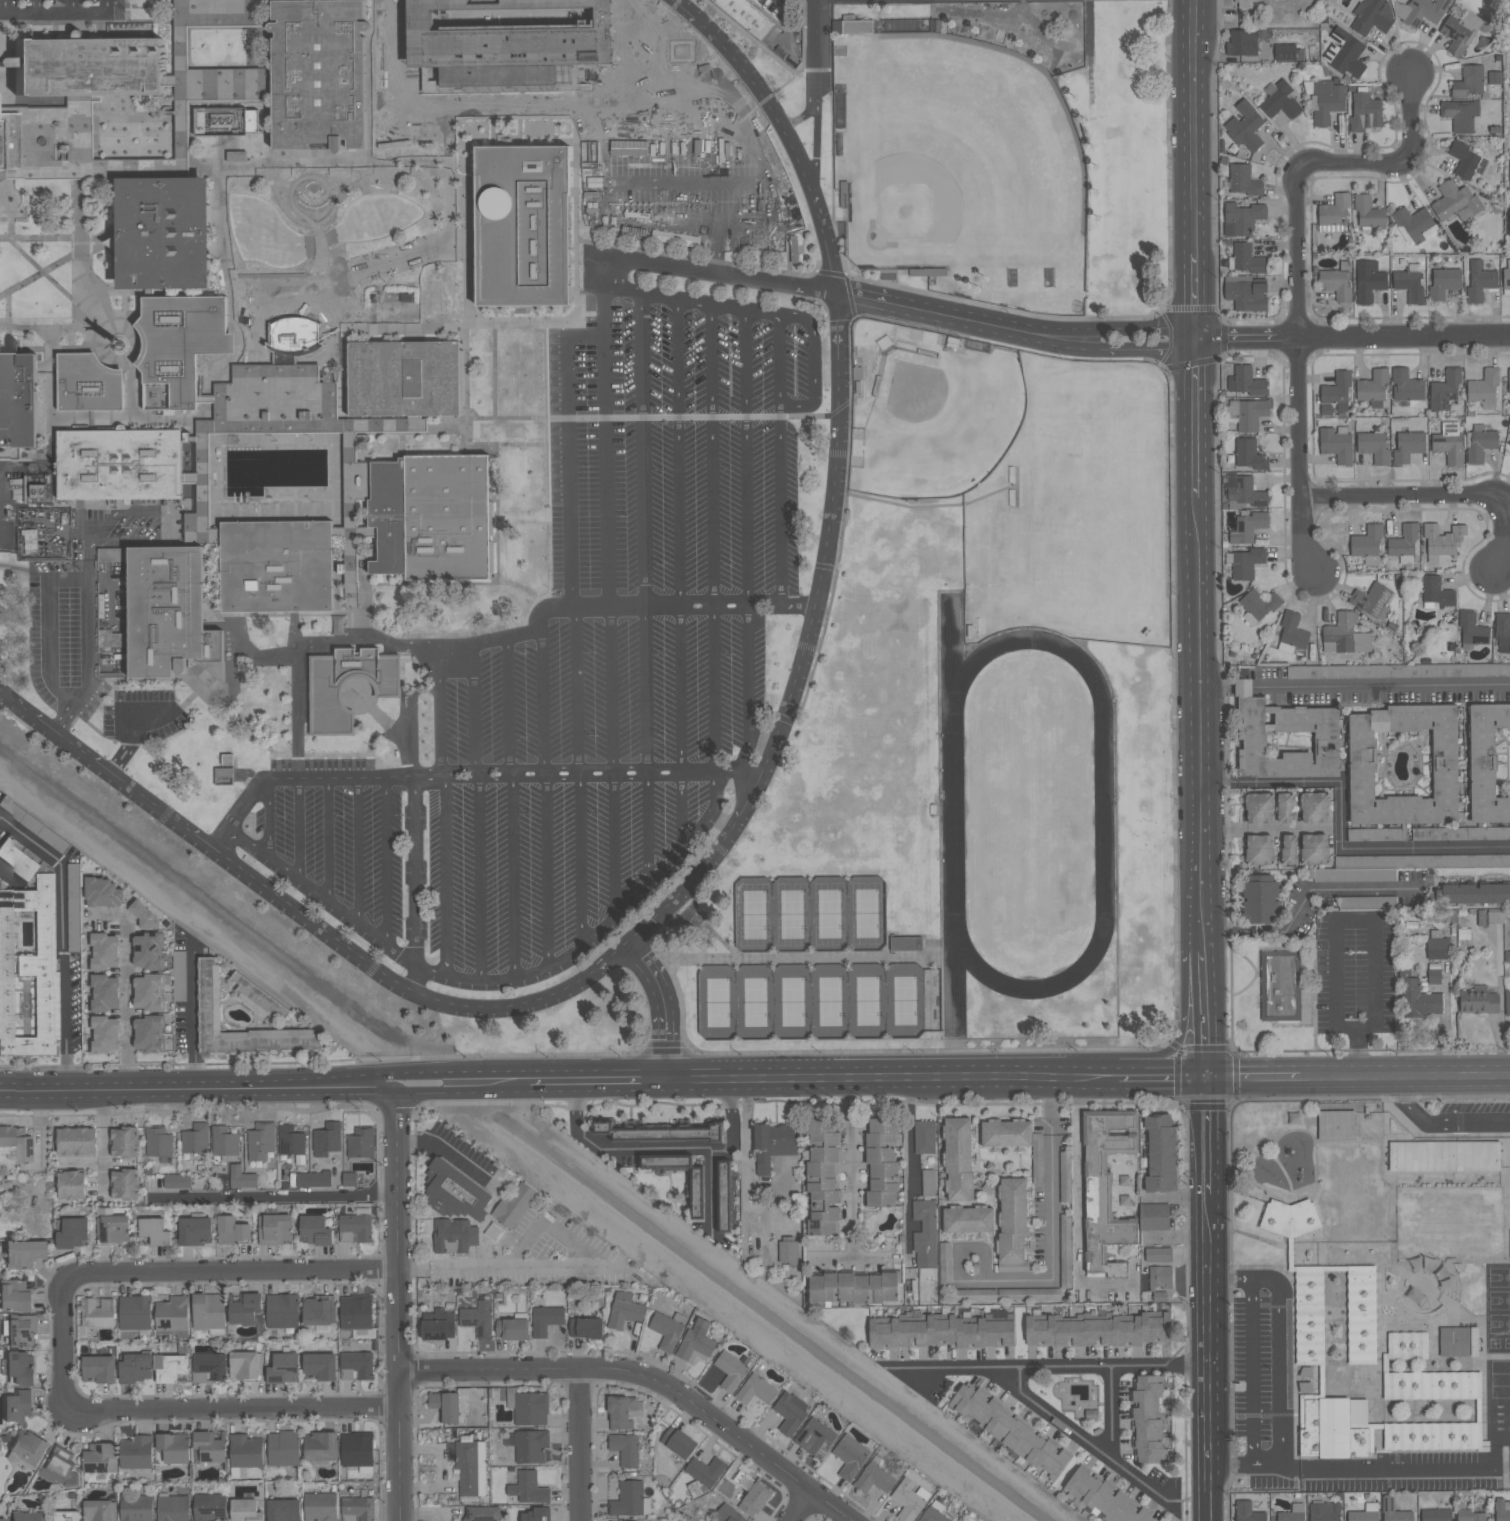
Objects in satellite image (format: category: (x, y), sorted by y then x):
parking lot: (915, 1)
building: (1245, 4)
road: (154, 5)
road: (38, 6)
road: (71, 6)
road: (3, 7)
road: (127, 10)
parking lot: (62, 11)
building: (1421, 11)
road: (59, 13)
road: (146, 13)
building: (1373, 16)
building: (749, 17)
road: (155, 21)
road: (64, 24)
building: (854, 26)
parking lot: (785, 29)
road: (56, 32)
road: (752, 37)
building: (509, 41)
building: (1243, 42)
road: (268, 44)
building: (1285, 51)
road: (819, 52)
building: (1345, 52)
building: (270, 75)
building: (1469, 81)
road: (182, 83)
road: (263, 89)
building: (1281, 101)
building: (1325, 101)
road: (503, 102)
road: (50, 103)
building: (1365, 113)
building: (1460, 114)
parking lot: (637, 116)
road: (800, 117)
road: (115, 119)
road: (648, 125)
road: (519, 126)
building: (1245, 126)
road: (492, 131)
road: (452, 134)
building: (91, 142)
building: (8, 143)
road: (681, 147)
road: (816, 155)
park: (954, 157)
building: (1467, 161)
road: (399, 165)
road: (605, 167)
road: (144, 168)
road: (30, 174)
road: (221, 174)
building: (1243, 180)
road: (80, 182)
road: (300, 185)
building: (1456, 201)
road: (10, 207)
road: (833, 207)
road: (452, 208)
building: (1509, 211)
building: (1368, 212)
building: (1334, 214)
road: (575, 218)
building: (1242, 218)
road: (665, 221)
road: (326, 222)
building: (1414, 224)
building: (522, 226)
road: (10, 229)
building: (164, 234)
road: (88, 236)
road: (38, 237)
road: (96, 240)
road: (716, 247)
road: (320, 248)
building: (793, 248)
road: (452, 250)
road: (110, 251)
building: (1245, 258)
road: (39, 268)
road: (364, 271)
road: (1294, 273)
road: (124, 274)
road: (726, 274)
road: (34, 276)
building: (1506, 276)
building: (1368, 280)
road: (879, 281)
building: (1480, 281)
building: (1335, 283)
building: (1444, 283)
building: (1410, 284)
building: (1246, 293)
road: (188, 295)
road: (282, 297)
road: (674, 299)
road: (325, 300)
road: (256, 303)
road: (136, 310)
road: (929, 313)
road: (91, 317)
road: (512, 317)
road: (9, 322)
road: (486, 322)
road: (912, 325)
road: (1112, 326)
road: (407, 331)
road: (1355, 335)
traffic signals: (1201, 337)
building: (297, 338)
building: (119, 344)
road: (1111, 351)
road: (814, 363)
road: (545, 369)
road: (495, 370)
building: (1245, 381)
building: (1509, 381)
building: (1406, 385)
building: (91, 386)
building: (1484, 386)
building: (1373, 389)
building: (1445, 390)
building: (1336, 394)
building: (18, 399)
building: (1247, 413)
road: (153, 417)
road: (607, 417)
park: (940, 424)
road: (850, 442)
building: (1449, 442)
building: (1336, 443)
building: (1480, 444)
building: (1509, 445)
road: (607, 446)
building: (1373, 446)
building: (1408, 446)
building: (1249, 454)
road: (780, 460)
road: (1202, 464)
building: (416, 491)
building: (1244, 492)
building: (38, 493)
road: (1434, 495)
parking lot: (686, 496)
road: (929, 506)
park: (1077, 511)
road: (547, 514)
road: (210, 515)
road: (523, 515)
road: (173, 519)
building: (1248, 526)
road: (348, 531)
road: (645, 533)
road: (680, 536)
road: (712, 538)
building: (1442, 541)
road: (748, 544)
building: (1367, 545)
building: (1404, 545)
road: (88, 562)
building: (1246, 563)
road: (830, 567)
road: (24, 571)
road: (64, 580)
road: (414, 583)
road: (523, 588)
building: (1437, 591)
building: (1371, 599)
building: (1258, 605)
road: (627, 607)
road: (731, 607)
road: (532, 622)
building: (1503, 633)
building: (1292, 634)
building: (1345, 635)
parking lot: (65, 638)
building: (110, 638)
road: (358, 643)
building: (1398, 670)
parking lot: (546, 679)
road: (116, 684)
road: (298, 685)
road: (1376, 686)
road: (1223, 688)
building: (328, 691)
road: (576, 691)
road: (542, 694)
road: (188, 700)
road: (220, 701)
road: (151, 704)
road: (508, 705)
road: (473, 708)
road: (380, 717)
road: (66, 718)
parking lot: (141, 720)
road: (260, 737)
road: (612, 737)
building: (1286, 738)
road: (441, 748)
road: (124, 753)
road: (344, 754)
building: (228, 761)
building: (1490, 763)
building: (1404, 765)
road: (737, 773)
road: (491, 775)
building: (226, 778)
road: (1218, 785)
road: (250, 802)
building: (1285, 807)
building: (1315, 807)
building: (1259, 808)
road: (682, 810)
track: (1022, 815)
road: (1104, 815)
road: (269, 817)
road: (952, 817)
park: (1029, 817)
building: (33, 824)
road: (299, 828)
road: (1264, 829)
road: (648, 831)
road: (730, 831)
building: (1460, 833)
building: (1375, 834)
road: (223, 839)
road: (329, 839)
road: (616, 845)
road: (1343, 848)
road: (358, 849)
building: (1259, 849)
building: (1289, 849)
building: (1314, 849)
parking lot: (477, 854)
road: (386, 859)
road: (581, 859)
building: (18, 860)
building: (1396, 865)
road: (547, 869)
road: (416, 870)
road: (444, 874)
road: (515, 876)
building: (1259, 877)
building: (104, 892)
building: (1476, 893)
road: (323, 896)
road: (1300, 899)
building: (1366, 901)
building: (1260, 902)
building: (73, 906)
road: (628, 908)
road: (480, 910)
building: (144, 915)
park: (812, 916)
building: (1490, 917)
road: (1373, 923)
road: (1198, 934)
road: (62, 937)
building: (906, 943)
building: (1437, 948)
building: (150, 950)
building: (103, 951)
road: (725, 957)
road: (840, 957)
building: (29, 969)
building: (179, 975)
building: (1434, 976)
road: (417, 980)
road: (126, 985)
building: (1281, 986)
building: (209, 989)
building: (104, 992)
building: (149, 992)
building: (260, 997)
building: (1417, 997)
building: (1479, 1000)
building: (1507, 1001)
park: (820, 1003)
road: (1202, 1007)
road: (665, 1009)
road: (195, 1019)
road: (1184, 1026)
building: (151, 1034)
building: (104, 1035)
road: (463, 1072)
road: (1404, 1074)
road: (348, 1075)
road: (1094, 1075)
road: (1161, 1075)
traffic signals: (1206, 1075)
road: (1253, 1075)
road: (867, 1078)
road: (617, 1081)
road: (552, 1082)
road: (389, 1084)
road: (154, 1087)
road: (463, 1091)
road: (349, 1095)
road: (732, 1114)
building: (1336, 1125)
road: (1434, 1126)
building: (661, 1132)
road: (102, 1136)
building: (924, 1136)
building: (195, 1138)
building: (326, 1138)
building: (76, 1139)
building: (124, 1140)
building: (260, 1140)
building: (290, 1140)
building: (1016, 1140)
building: (224, 1141)
building: (17, 1142)
building: (360, 1142)
building: (159, 1143)
building: (773, 1144)
road: (444, 1146)
road: (721, 1148)
road: (617, 1149)
building: (1161, 1154)
building: (1444, 1156)
building: (958, 1159)
road: (911, 1160)
building: (883, 1162)
building: (675, 1167)
building: (1054, 1175)
building: (241, 1177)
building: (822, 1177)
building: (313, 1178)
building: (349, 1178)
building: (176, 1181)
building: (71, 1183)
building: (124, 1183)
building: (929, 1183)
road: (851, 1185)
building: (1106, 1185)
building: (454, 1192)
road: (712, 1192)
road: (270, 1195)
building: (723, 1198)
road: (1080, 1204)
building: (514, 1205)
building: (697, 1213)
road: (1050, 1216)
building: (1154, 1216)
building: (1290, 1217)
building: (968, 1219)
building: (1012, 1225)
building: (112, 1227)
building: (355, 1227)
building: (275, 1228)
building: (315, 1228)
building: (153, 1229)
building: (195, 1229)
building: (233, 1229)
building: (72, 1230)
building: (925, 1234)
building: (454, 1235)
building: (788, 1249)
building: (23, 1252)
building: (1158, 1254)
road: (871, 1258)
building: (944, 1262)
road: (556, 1269)
road: (230, 1273)
building: (1160, 1277)
building: (853, 1286)
building: (974, 1294)
building: (15, 1296)
building: (1160, 1296)
road: (1205, 1298)
building: (245, 1307)
road: (393, 1307)
building: (208, 1310)
building: (282, 1310)
building: (318, 1310)
building: (624, 1310)
building: (97, 1311)
building: (135, 1311)
building: (172, 1313)
building: (356, 1313)
building: (1361, 1314)
building: (1309, 1315)
building: (478, 1318)
building: (546, 1319)
building: (438, 1324)
building: (586, 1326)
building: (512, 1327)
building: (667, 1329)
building: (1099, 1331)
building: (20, 1332)
building: (939, 1332)
road: (1278, 1340)
building: (697, 1341)
building: (1454, 1341)
road: (66, 1343)
building: (1407, 1345)
building: (243, 1363)
building: (356, 1364)
building: (319, 1365)
building: (135, 1366)
building: (170, 1366)
building: (208, 1366)
building: (20, 1367)
building: (98, 1367)
building: (284, 1367)
building: (730, 1370)
road: (1051, 1370)
road: (1252, 1373)
road: (644, 1376)
building: (1431, 1385)
building: (756, 1390)
building: (17, 1405)
building: (445, 1405)
building: (531, 1408)
road: (229, 1411)
building: (790, 1412)
building: (619, 1413)
road: (1110, 1417)
building: (1148, 1418)
building: (1009, 1430)
building: (1372, 1431)
building: (816, 1436)
road: (1085, 1441)
building: (678, 1442)
building: (210, 1444)
building: (174, 1445)
building: (321, 1445)
building: (530, 1445)
road: (578, 1445)
building: (28, 1446)
building: (283, 1448)
building: (357, 1448)
building: (625, 1448)
building: (246, 1450)
building: (136, 1451)
building: (100, 1456)
building: (850, 1456)
road: (1243, 1467)
building: (56, 1468)
building: (471, 1468)
road: (1386, 1469)
building: (706, 1471)
building: (874, 1479)
building: (528, 1487)
building: (1102, 1497)
building: (909, 1498)
building: (630, 1499)
building: (755, 1499)
building: (320, 1506)
road: (797, 1506)
building: (173, 1507)
building: (210, 1507)
building: (284, 1508)
building: (357, 1508)
building: (97, 1509)
building: (136, 1509)
building: (245, 1509)
building: (1394, 1510)
building: (1502, 1510)
building: (1249, 1511)
building: (1325, 1511)
building: (934, 1512)
building: (482, 1513)
building: (1292, 1513)
building: (1364, 1513)
building: (535, 1514)
building: (729, 1514)
building: (65, 1515)
building: (1435, 1515)
building: (1470, 1515)
building: (26, 1516)
building: (2, 1519)
building: (651, 1520)

